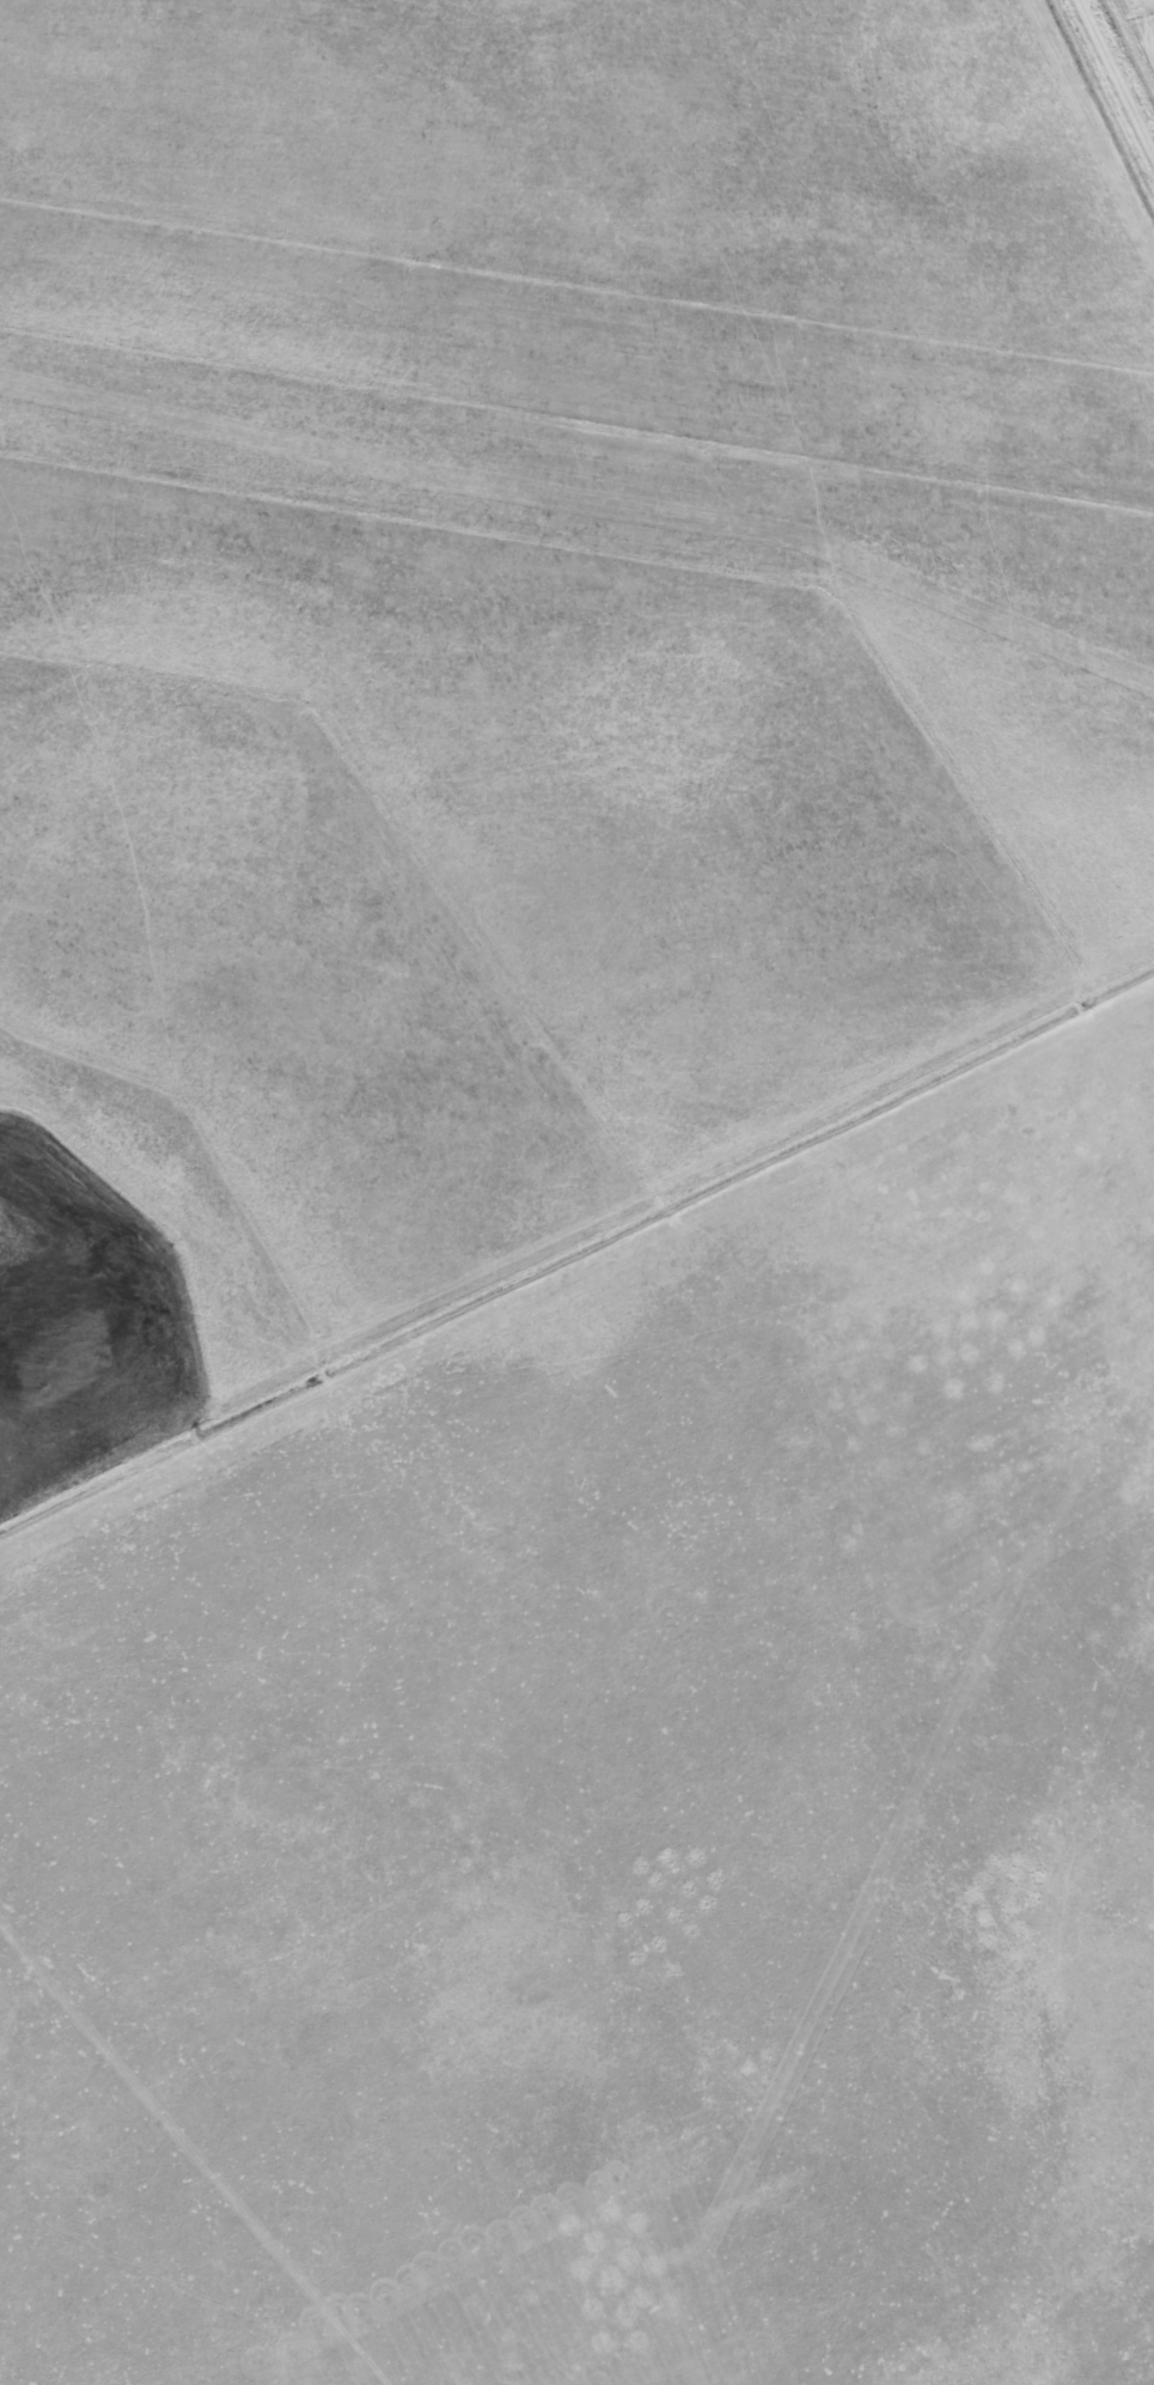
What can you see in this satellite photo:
road: (1118, 74)

